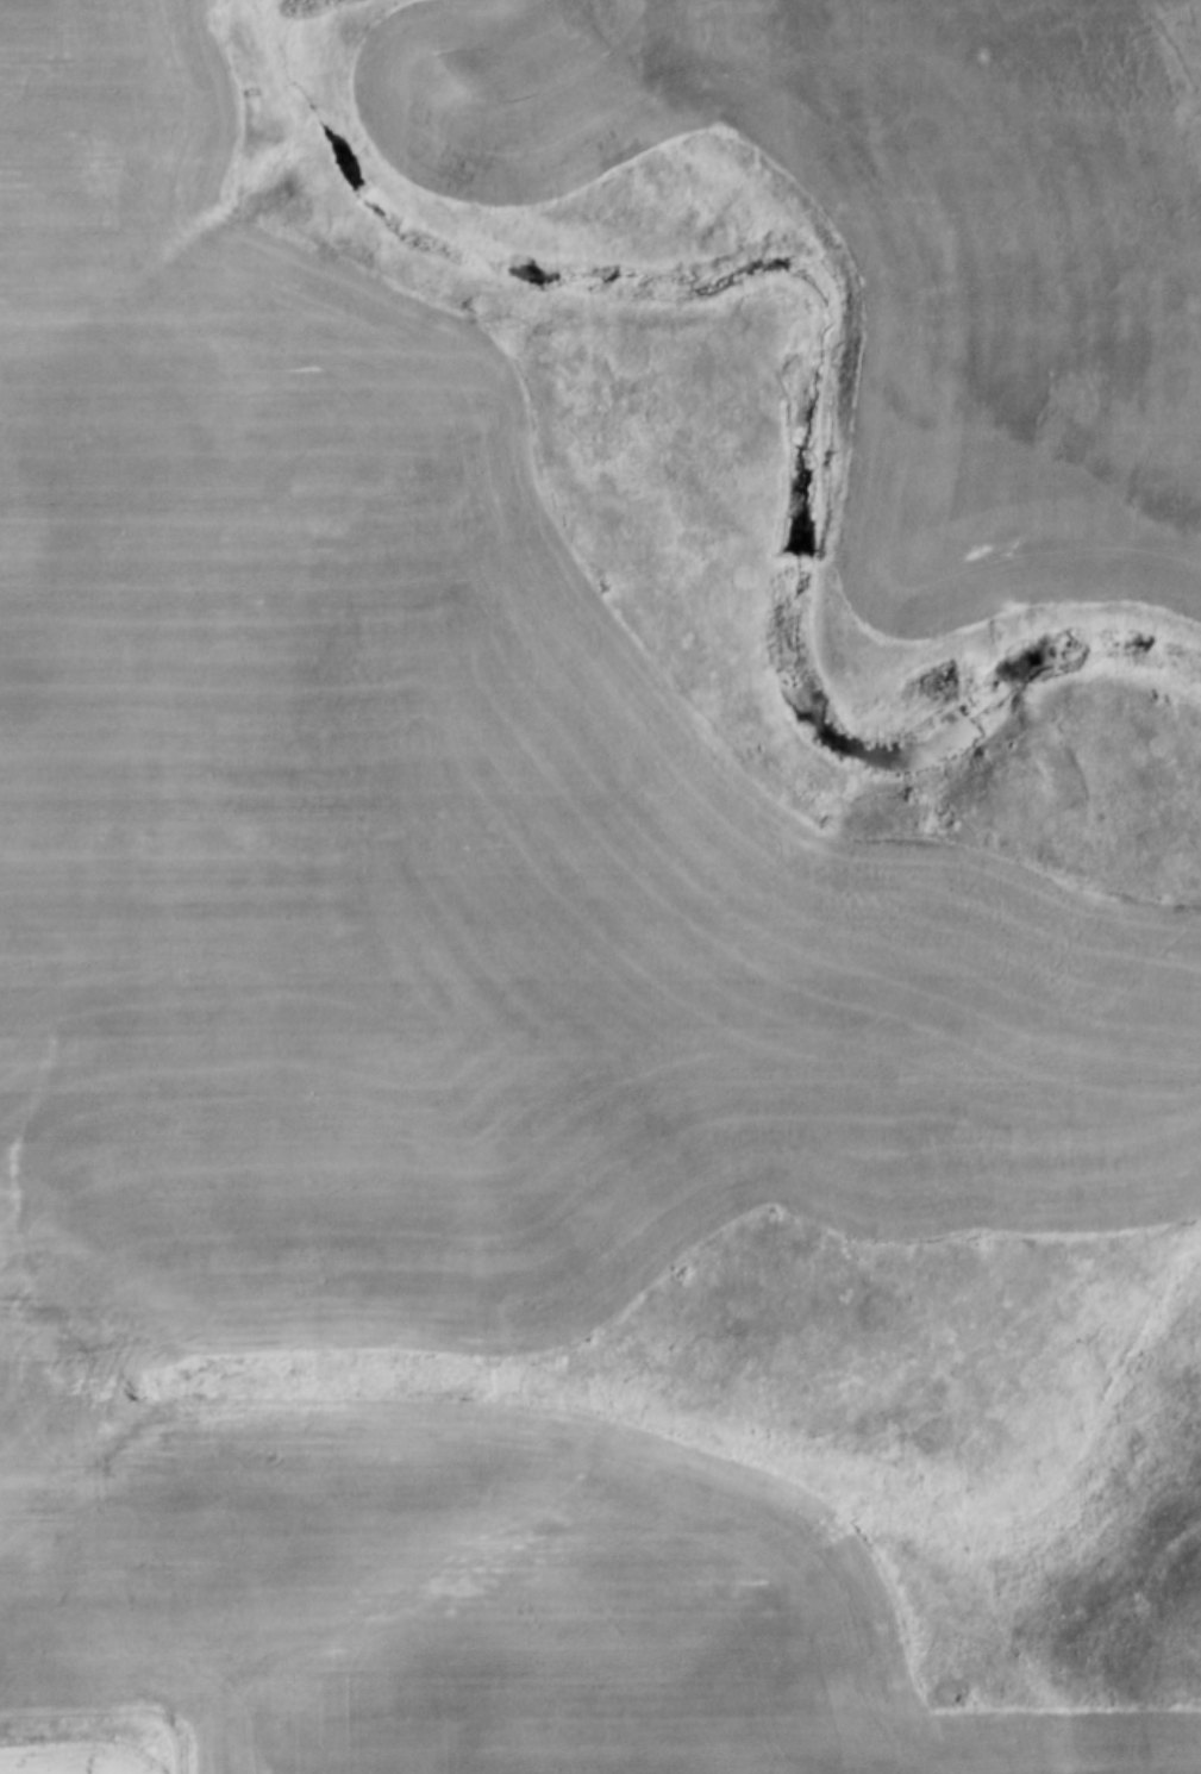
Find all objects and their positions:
road: (600, 1707)
road: (175, 1744)

